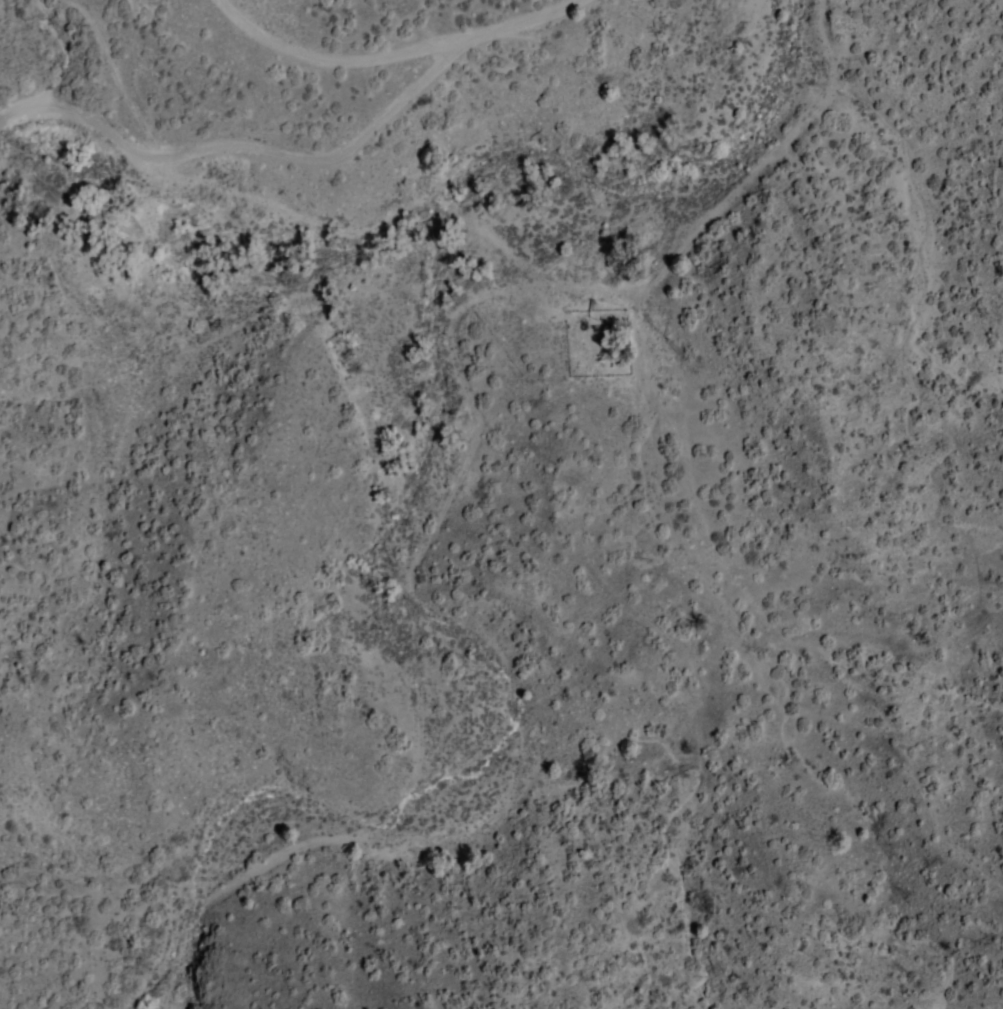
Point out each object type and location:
road: (126, 87)
road: (483, 237)
road: (409, 659)

